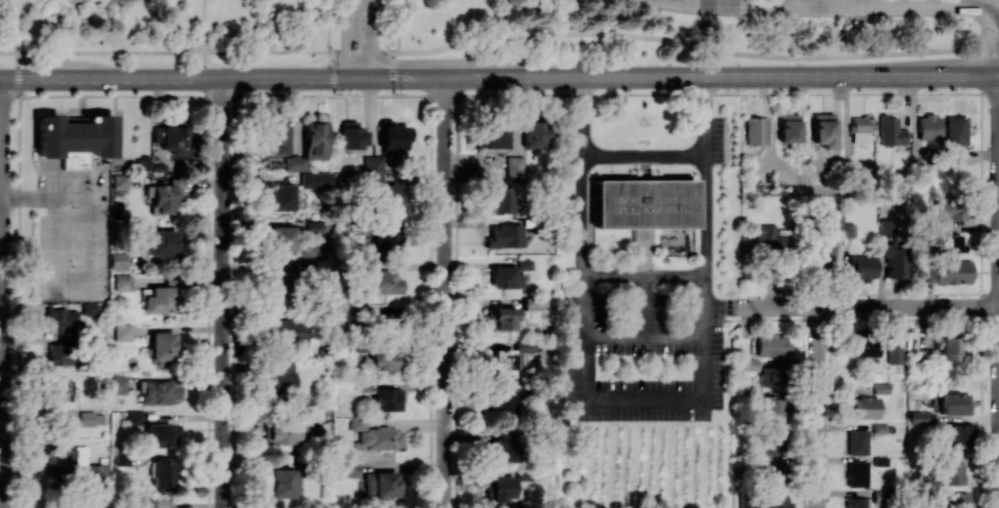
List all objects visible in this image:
road: (796, 1)
road: (841, 1)
road: (842, 3)
road: (25, 6)
road: (863, 8)
road: (998, 10)
road: (117, 23)
road: (327, 25)
road: (397, 25)
park: (464, 32)
road: (499, 35)
road: (369, 37)
road: (348, 38)
road: (998, 70)
road: (332, 72)
road: (391, 73)
road: (961, 74)
road: (998, 74)
road: (646, 75)
traffic signals: (348, 76)
traffic signals: (370, 76)
road: (185, 77)
road: (499, 95)
road: (998, 115)
building: (790, 128)
building: (928, 128)
building: (863, 129)
building: (825, 131)
building: (758, 132)
building: (892, 132)
building: (533, 134)
building: (351, 135)
building: (392, 136)
building: (493, 137)
road: (2, 138)
building: (172, 138)
building: (273, 138)
building: (73, 139)
building: (954, 139)
building: (309, 145)
road: (645, 156)
building: (372, 166)
building: (514, 167)
building: (315, 180)
building: (119, 181)
building: (383, 196)
building: (500, 196)
building: (164, 197)
building: (280, 197)
road: (1, 199)
building: (643, 203)
building: (948, 208)
building: (834, 219)
building: (313, 226)
building: (505, 236)
building: (281, 238)
building: (769, 238)
building: (385, 239)
building: (159, 242)
building: (949, 243)
road: (19, 253)
road: (209, 253)
building: (822, 255)
building: (117, 260)
building: (894, 262)
building: (524, 264)
building: (862, 267)
building: (947, 271)
road: (64, 277)
building: (504, 277)
road: (646, 277)
building: (122, 282)
building: (382, 282)
road: (223, 292)
road: (442, 292)
building: (157, 299)
road: (1, 302)
building: (534, 303)
road: (647, 307)
road: (866, 307)
building: (89, 309)
building: (501, 318)
building: (60, 321)
building: (287, 330)
building: (122, 332)
road: (646, 338)
building: (771, 345)
building: (161, 346)
building: (863, 347)
building: (948, 348)
building: (59, 352)
road: (2, 353)
building: (894, 354)
building: (509, 356)
building: (383, 359)
building: (281, 374)
building: (770, 376)
building: (880, 388)
building: (57, 389)
building: (159, 391)
building: (387, 399)
road: (646, 401)
building: (953, 403)
building: (503, 405)
road: (818, 407)
building: (863, 407)
building: (773, 408)
building: (920, 417)
building: (92, 418)
building: (287, 433)
building: (161, 434)
building: (957, 435)
building: (376, 437)
building: (773, 440)
building: (857, 442)
building: (501, 447)
building: (64, 454)
building: (122, 456)
building: (879, 460)
building: (349, 469)
building: (96, 473)
building: (856, 473)
building: (953, 473)
building: (162, 474)
building: (523, 474)
building: (283, 482)
building: (380, 484)
building: (502, 488)
building: (953, 499)
building: (776, 501)
building: (856, 502)
building: (749, 504)

